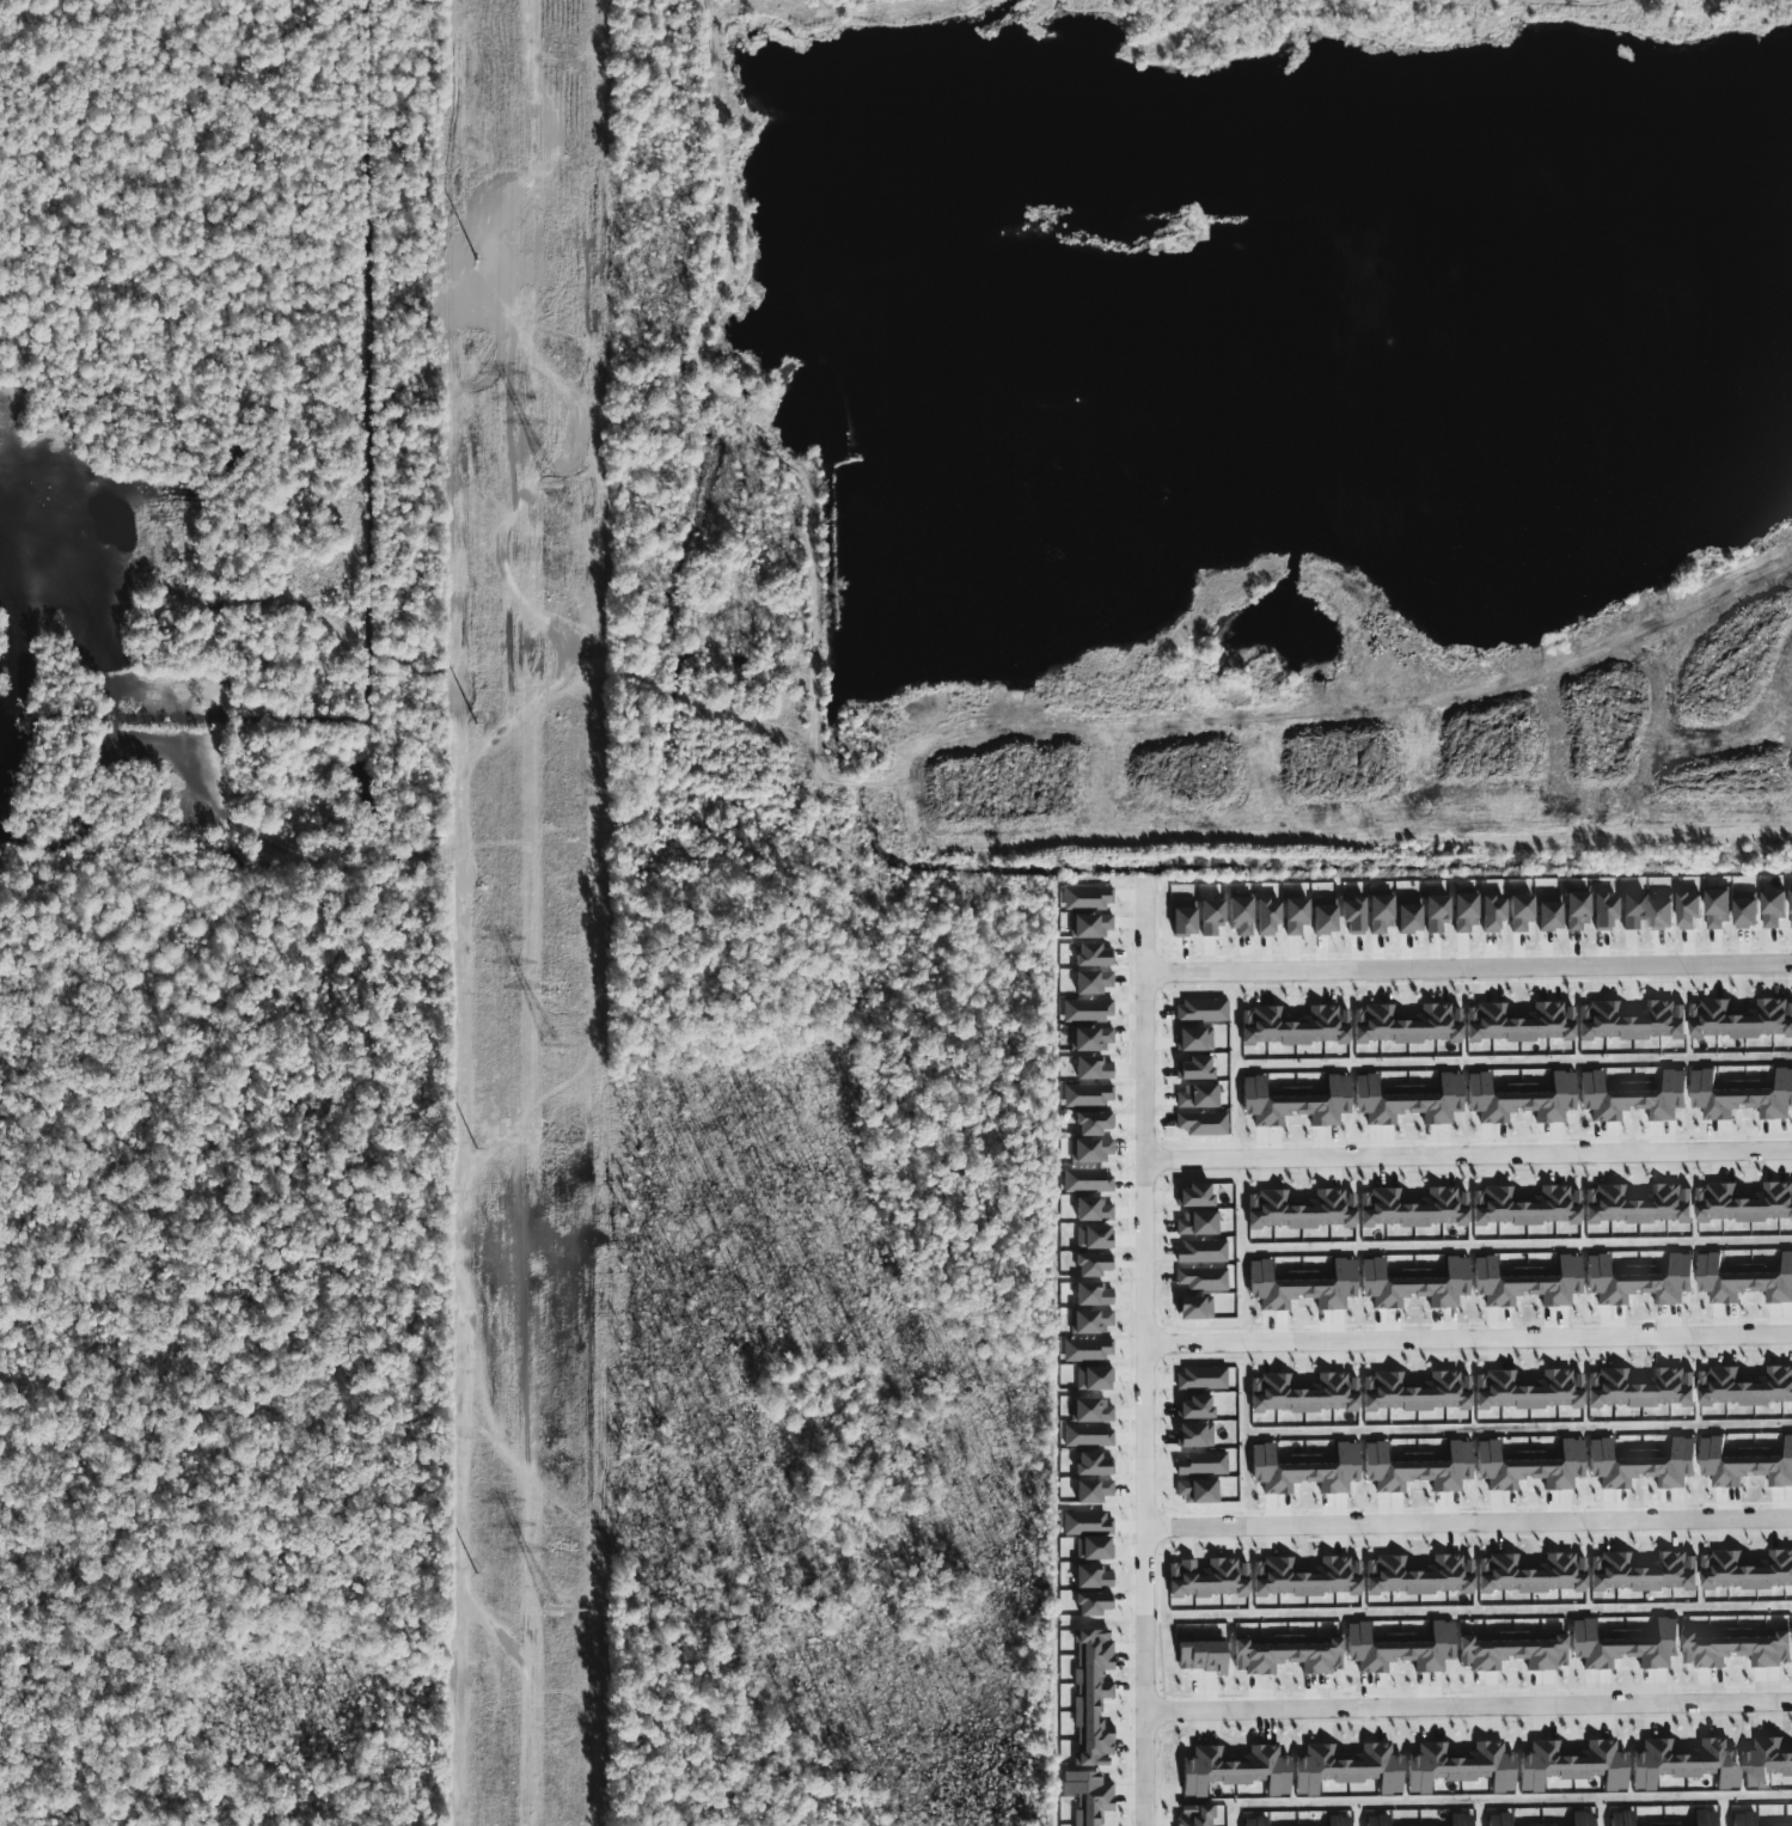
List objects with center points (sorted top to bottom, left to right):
power tower: (551, 485)
building: (1085, 897)
building: (1772, 908)
building: (1791, 908)
building: (1715, 909)
building: (1744, 909)
building: (1631, 910)
building: (1659, 910)
building: (1687, 910)
building: (1462, 911)
building: (1574, 911)
building: (1603, 911)
building: (1490, 912)
building: (1518, 912)
building: (1547, 912)
building: (1435, 914)
building: (1239, 915)
building: (1293, 915)
building: (1351, 915)
building: (1377, 915)
building: (1406, 915)
building: (1209, 916)
building: (1265, 916)
building: (1322, 916)
building: (1181, 918)
building: (1089, 926)
building: (1091, 955)
road: (1468, 965)
building: (1090, 982)
building: (1087, 1010)
building: (1199, 1010)
building: (1741, 1019)
building: (1629, 1021)
building: (1518, 1022)
building: (1405, 1024)
building: (1293, 1025)
building: (1091, 1038)
building: (1193, 1039)
power tower: (551, 1051)
building: (1090, 1068)
building: (1193, 1068)
building: (1087, 1094)
building: (1741, 1095)
building: (1195, 1097)
building: (1632, 1097)
building: (1519, 1098)
building: (1408, 1099)
building: (1296, 1101)
building: (1091, 1123)
building: (1200, 1123)
building: (1090, 1150)
road: (1468, 1154)
building: (1085, 1180)
building: (1193, 1196)
building: (1743, 1203)
building: (1635, 1204)
building: (1523, 1207)
building: (1411, 1208)
building: (1090, 1209)
building: (1298, 1210)
building: (1194, 1223)
building: (1091, 1236)
building: (1199, 1252)
building: (1090, 1264)
building: (1200, 1280)
building: (1743, 1280)
building: (1638, 1281)
building: (1524, 1282)
building: (1412, 1284)
building: (1299, 1285)
building: (1090, 1295)
building: (1193, 1308)
building: (1089, 1321)
road: (1469, 1337)
building: (1085, 1350)
road: (1148, 1351)
building: (1091, 1379)
building: (1199, 1379)
building: (1745, 1387)
building: (1639, 1388)
building: (1525, 1390)
building: (1413, 1392)
building: (1302, 1394)
building: (1193, 1407)
building: (1090, 1411)
building: (1193, 1435)
building: (1085, 1436)
building: (1200, 1464)
building: (1640, 1464)
building: (1744, 1464)
building: (1091, 1465)
building: (1528, 1466)
building: (1415, 1468)
building: (1302, 1470)
building: (1090, 1491)
building: (1197, 1491)
building: (1087, 1523)
road: (1469, 1523)
building: (1091, 1549)
building: (1745, 1571)
building: (1643, 1572)
building: (1529, 1574)
building: (1417, 1576)
building: (1090, 1577)
building: (1303, 1577)
building: (1206, 1578)
building: (1091, 1604)
power tower: (557, 1616)
building: (1622, 1644)
building: (1397, 1649)
building: (1733, 1649)
building: (1511, 1651)
building: (1198, 1655)
building: (1285, 1655)
building: (1090, 1698)
road: (1468, 1706)
building: (1766, 1763)
building: (1683, 1764)
building: (1571, 1765)
building: (1458, 1766)
building: (1346, 1769)
building: (1234, 1770)
building: (1085, 1796)
building: (1194, 1815)
building: (1704, 1818)
building: (1497, 1819)
building: (1580, 1819)
building: (1620, 1819)
building: (1742, 1819)
building: (1460, 1820)
building: (1253, 1821)
building: (1337, 1821)
building: (1375, 1821)
building: (1660, 1824)
building: (1540, 1825)
building: (1780, 1825)

